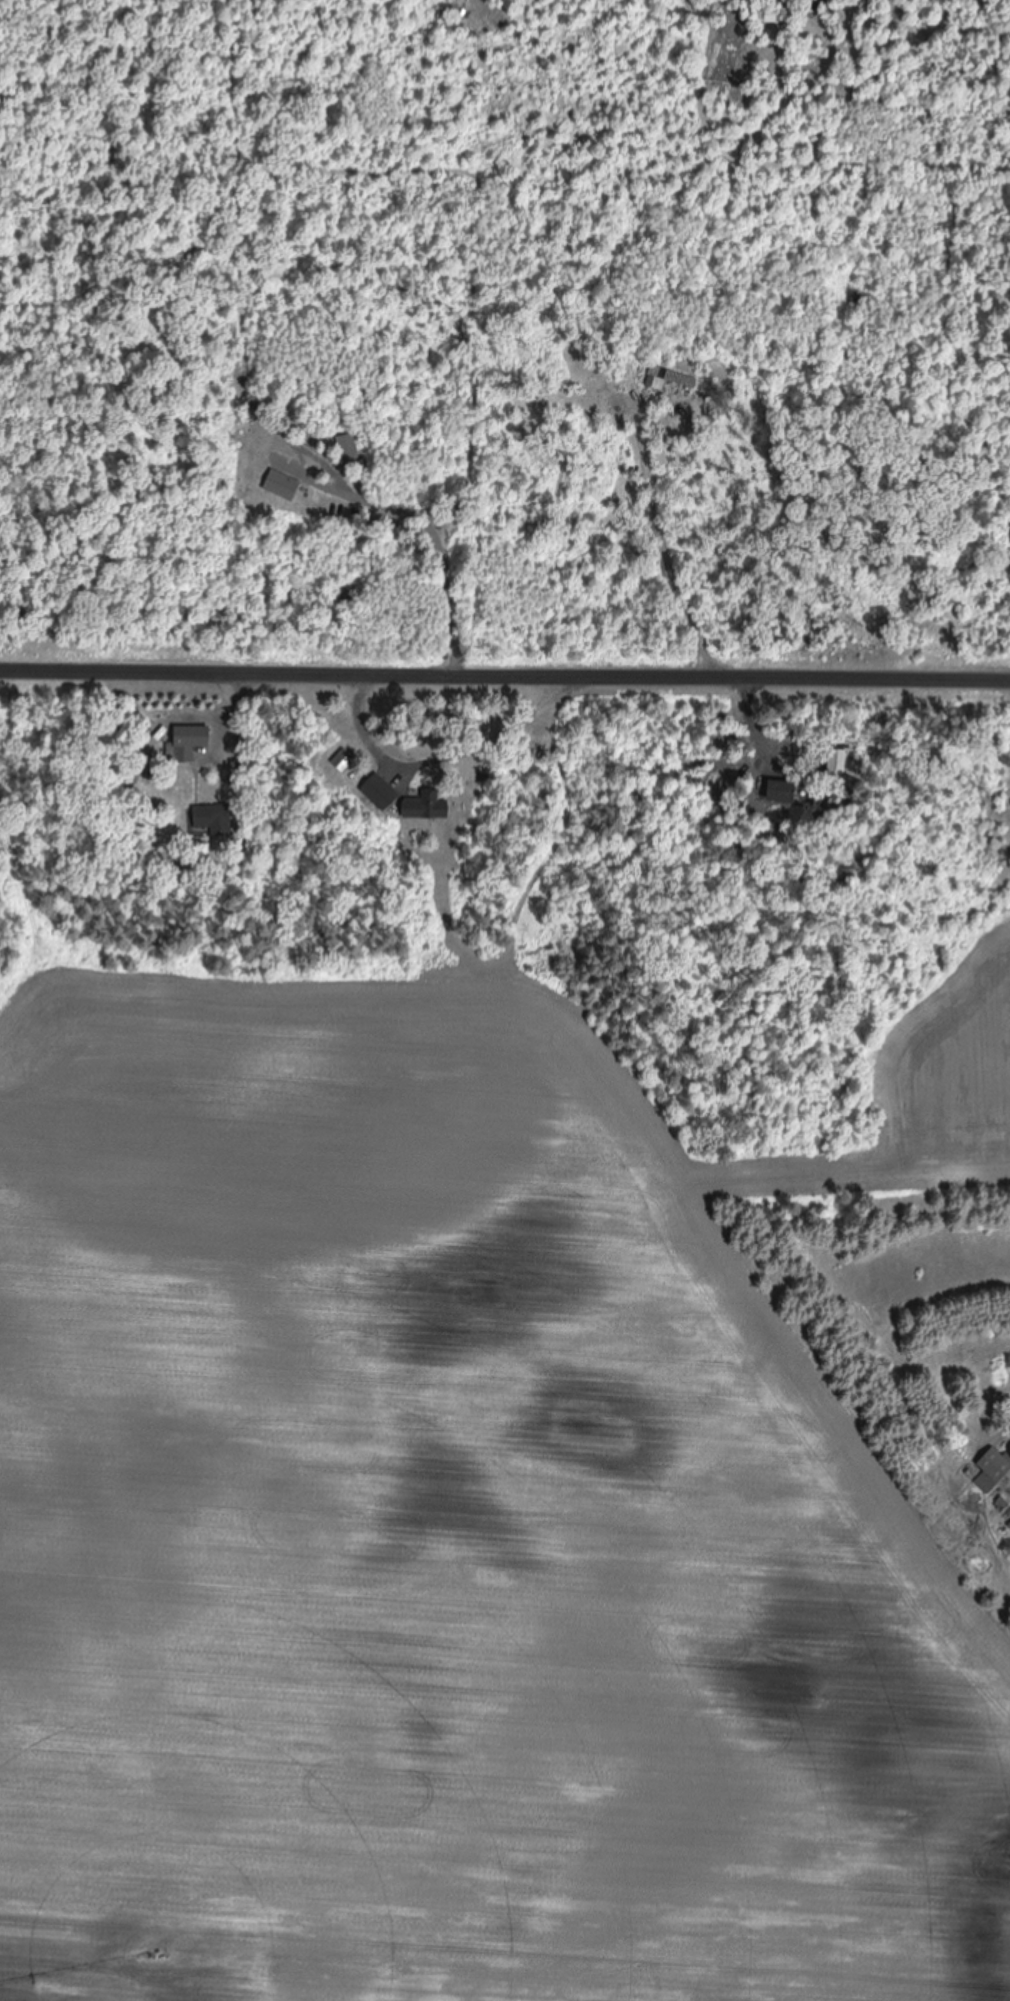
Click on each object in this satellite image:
building: (669, 378)
building: (285, 447)
road: (441, 539)
road: (505, 668)
building: (188, 743)
building: (838, 762)
building: (783, 791)
building: (382, 792)
building: (428, 805)
building: (215, 818)
road: (562, 837)
building: (993, 1470)

